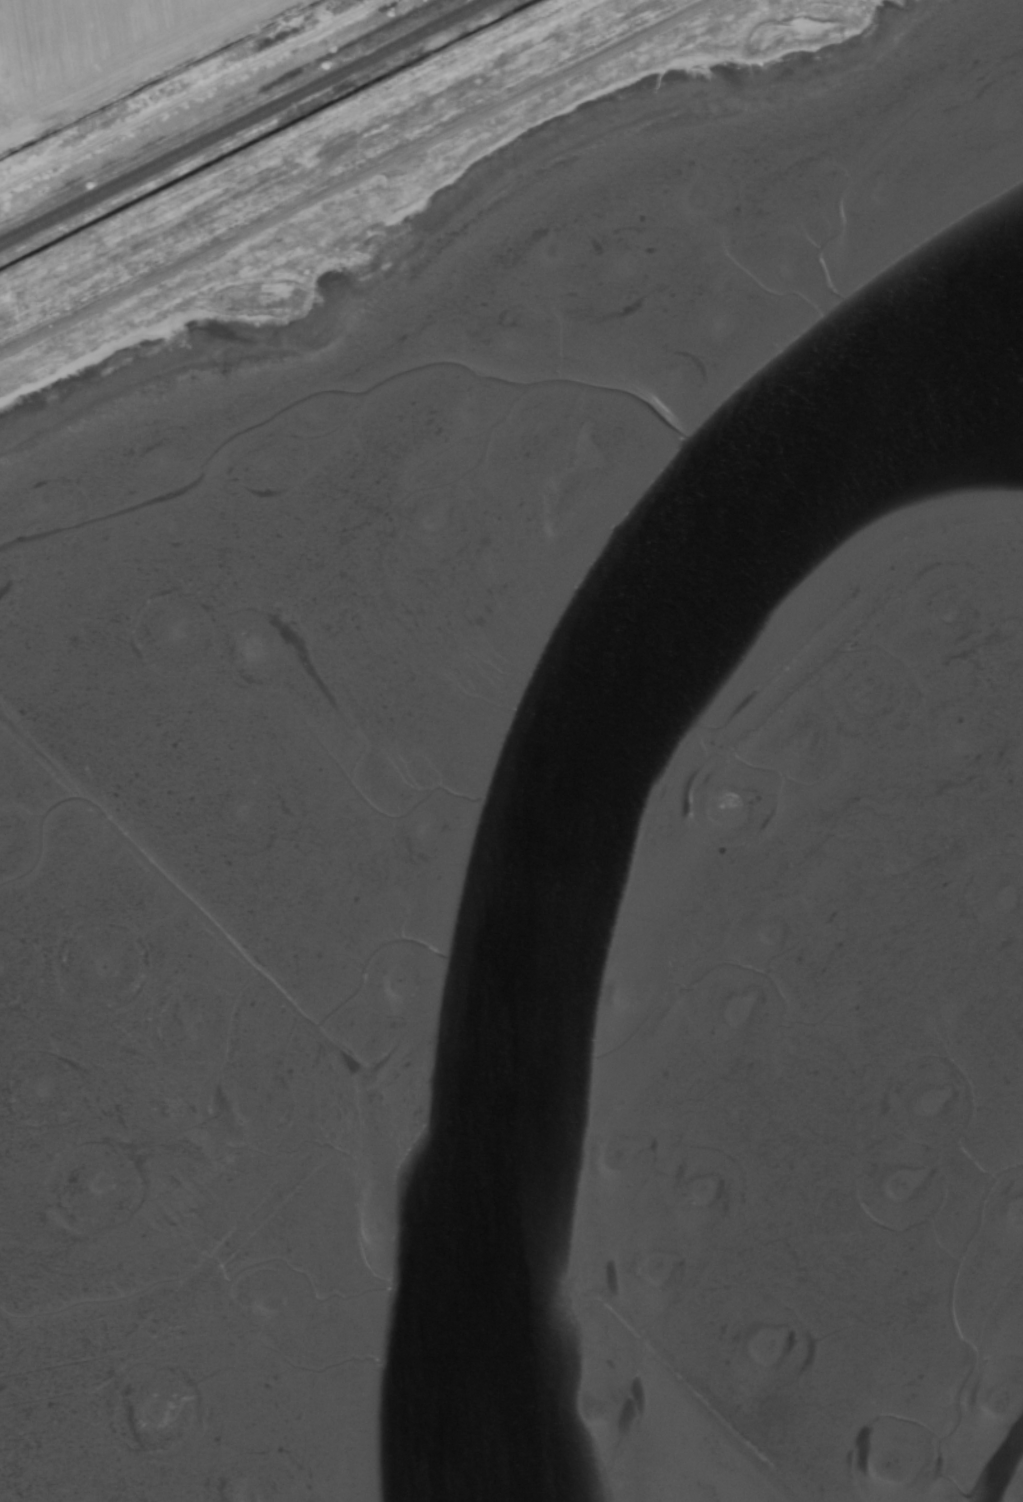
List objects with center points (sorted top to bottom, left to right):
railway: (246, 122)
road: (357, 178)

